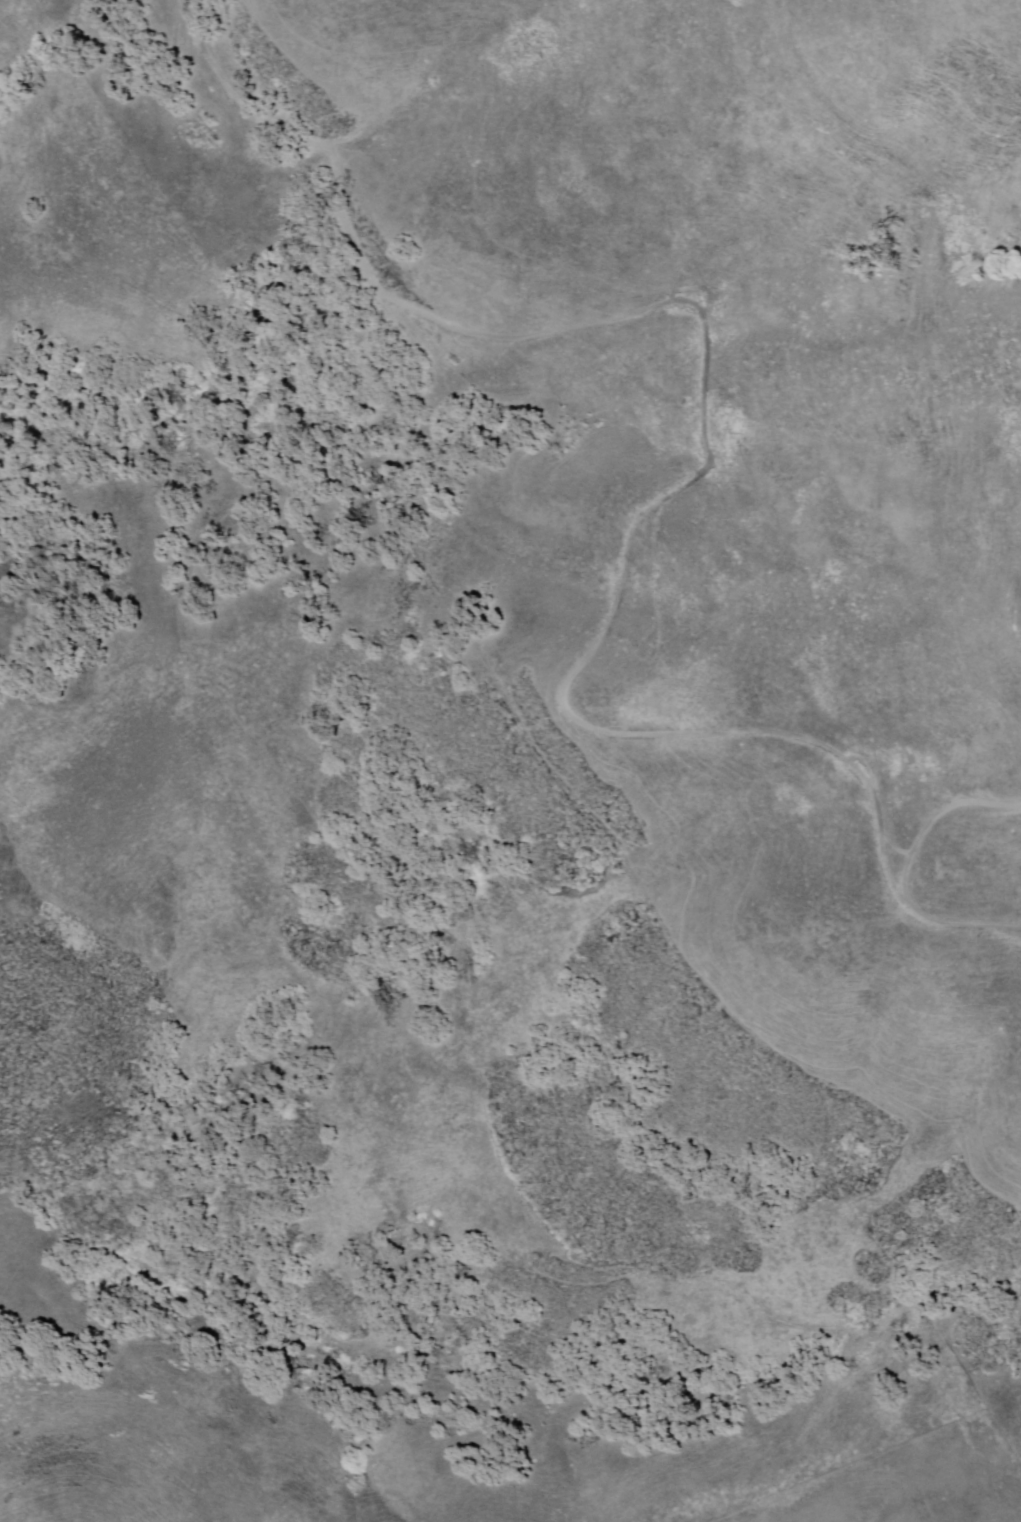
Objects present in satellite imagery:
road: (906, 870)

